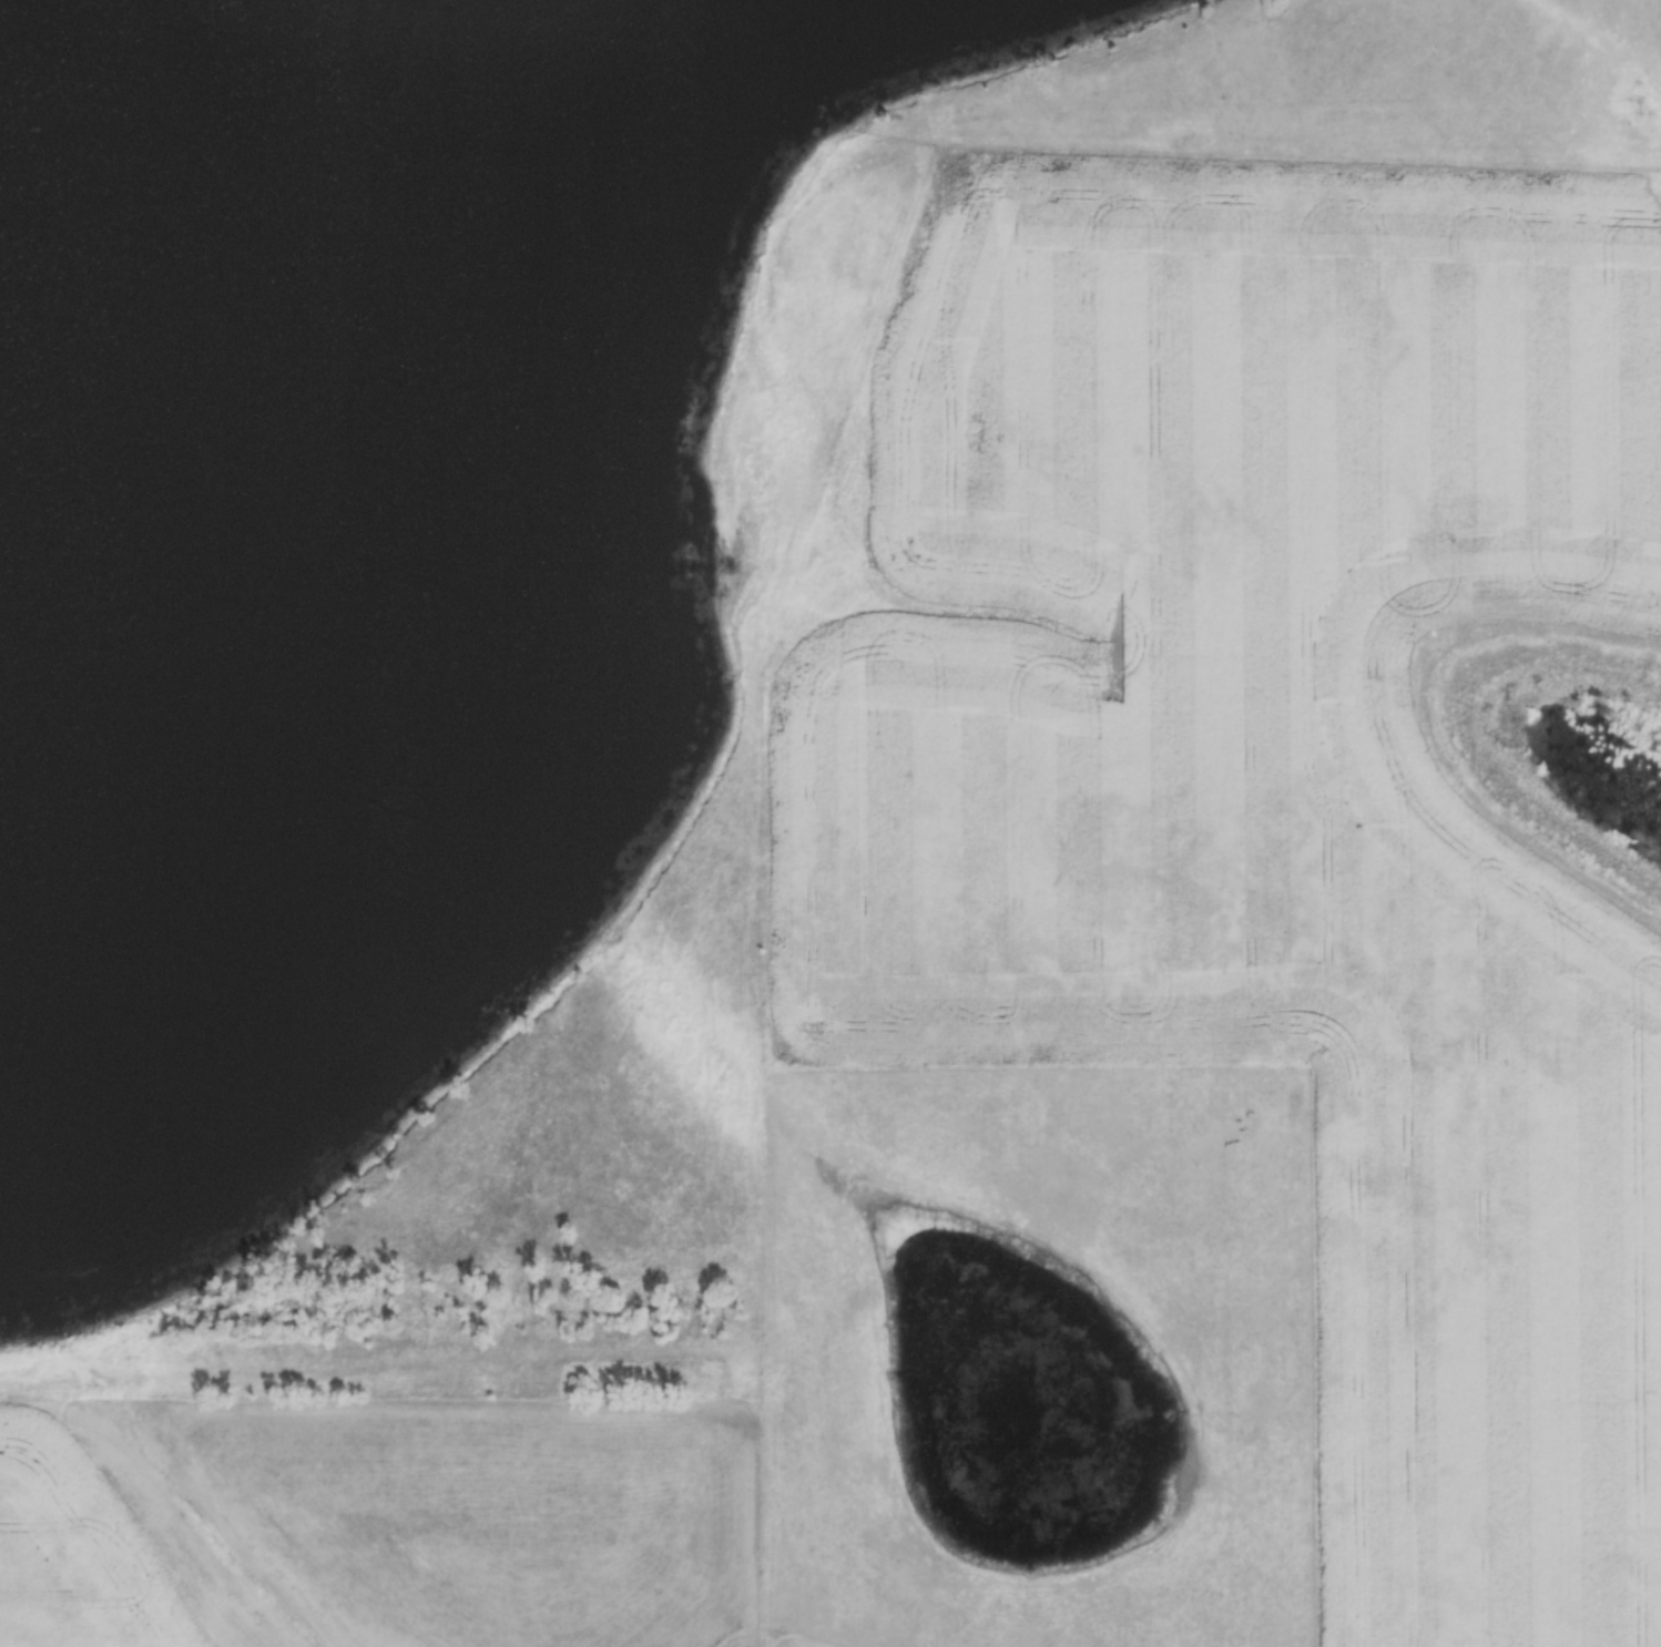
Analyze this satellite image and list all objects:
crop: (488, 1521)
crop: (92, 1551)

